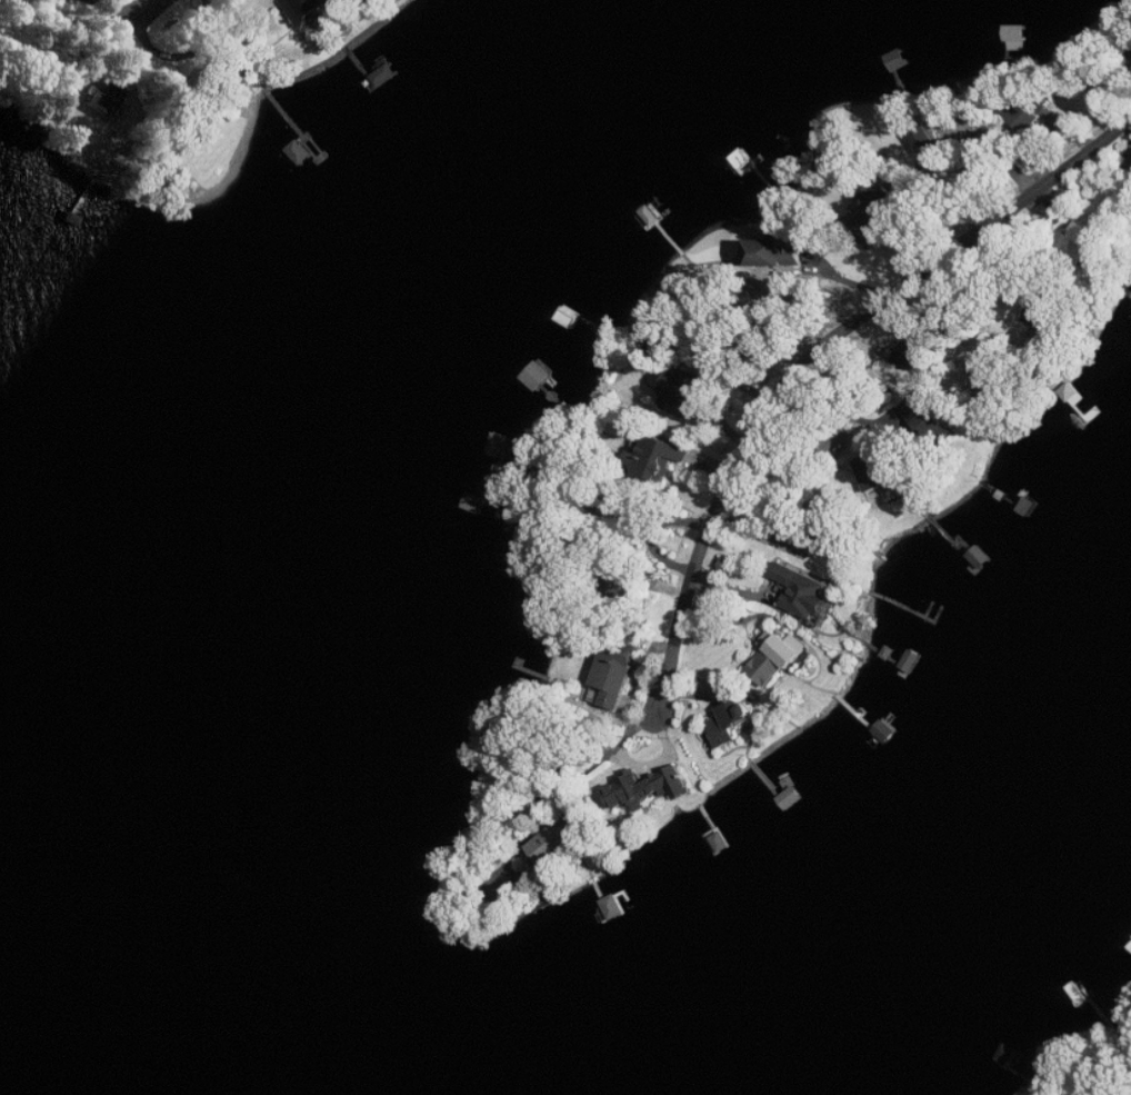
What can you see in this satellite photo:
road: (142, 8)
building: (309, 9)
building: (103, 99)
building: (878, 210)
building: (1082, 241)
building: (777, 253)
building: (1044, 311)
road: (814, 354)
building: (918, 357)
building: (685, 395)
road: (844, 410)
building: (875, 471)
building: (624, 508)
building: (827, 531)
building: (627, 588)
building: (805, 590)
building: (778, 658)
building: (615, 676)
building: (732, 721)
building: (650, 787)
building: (562, 837)

